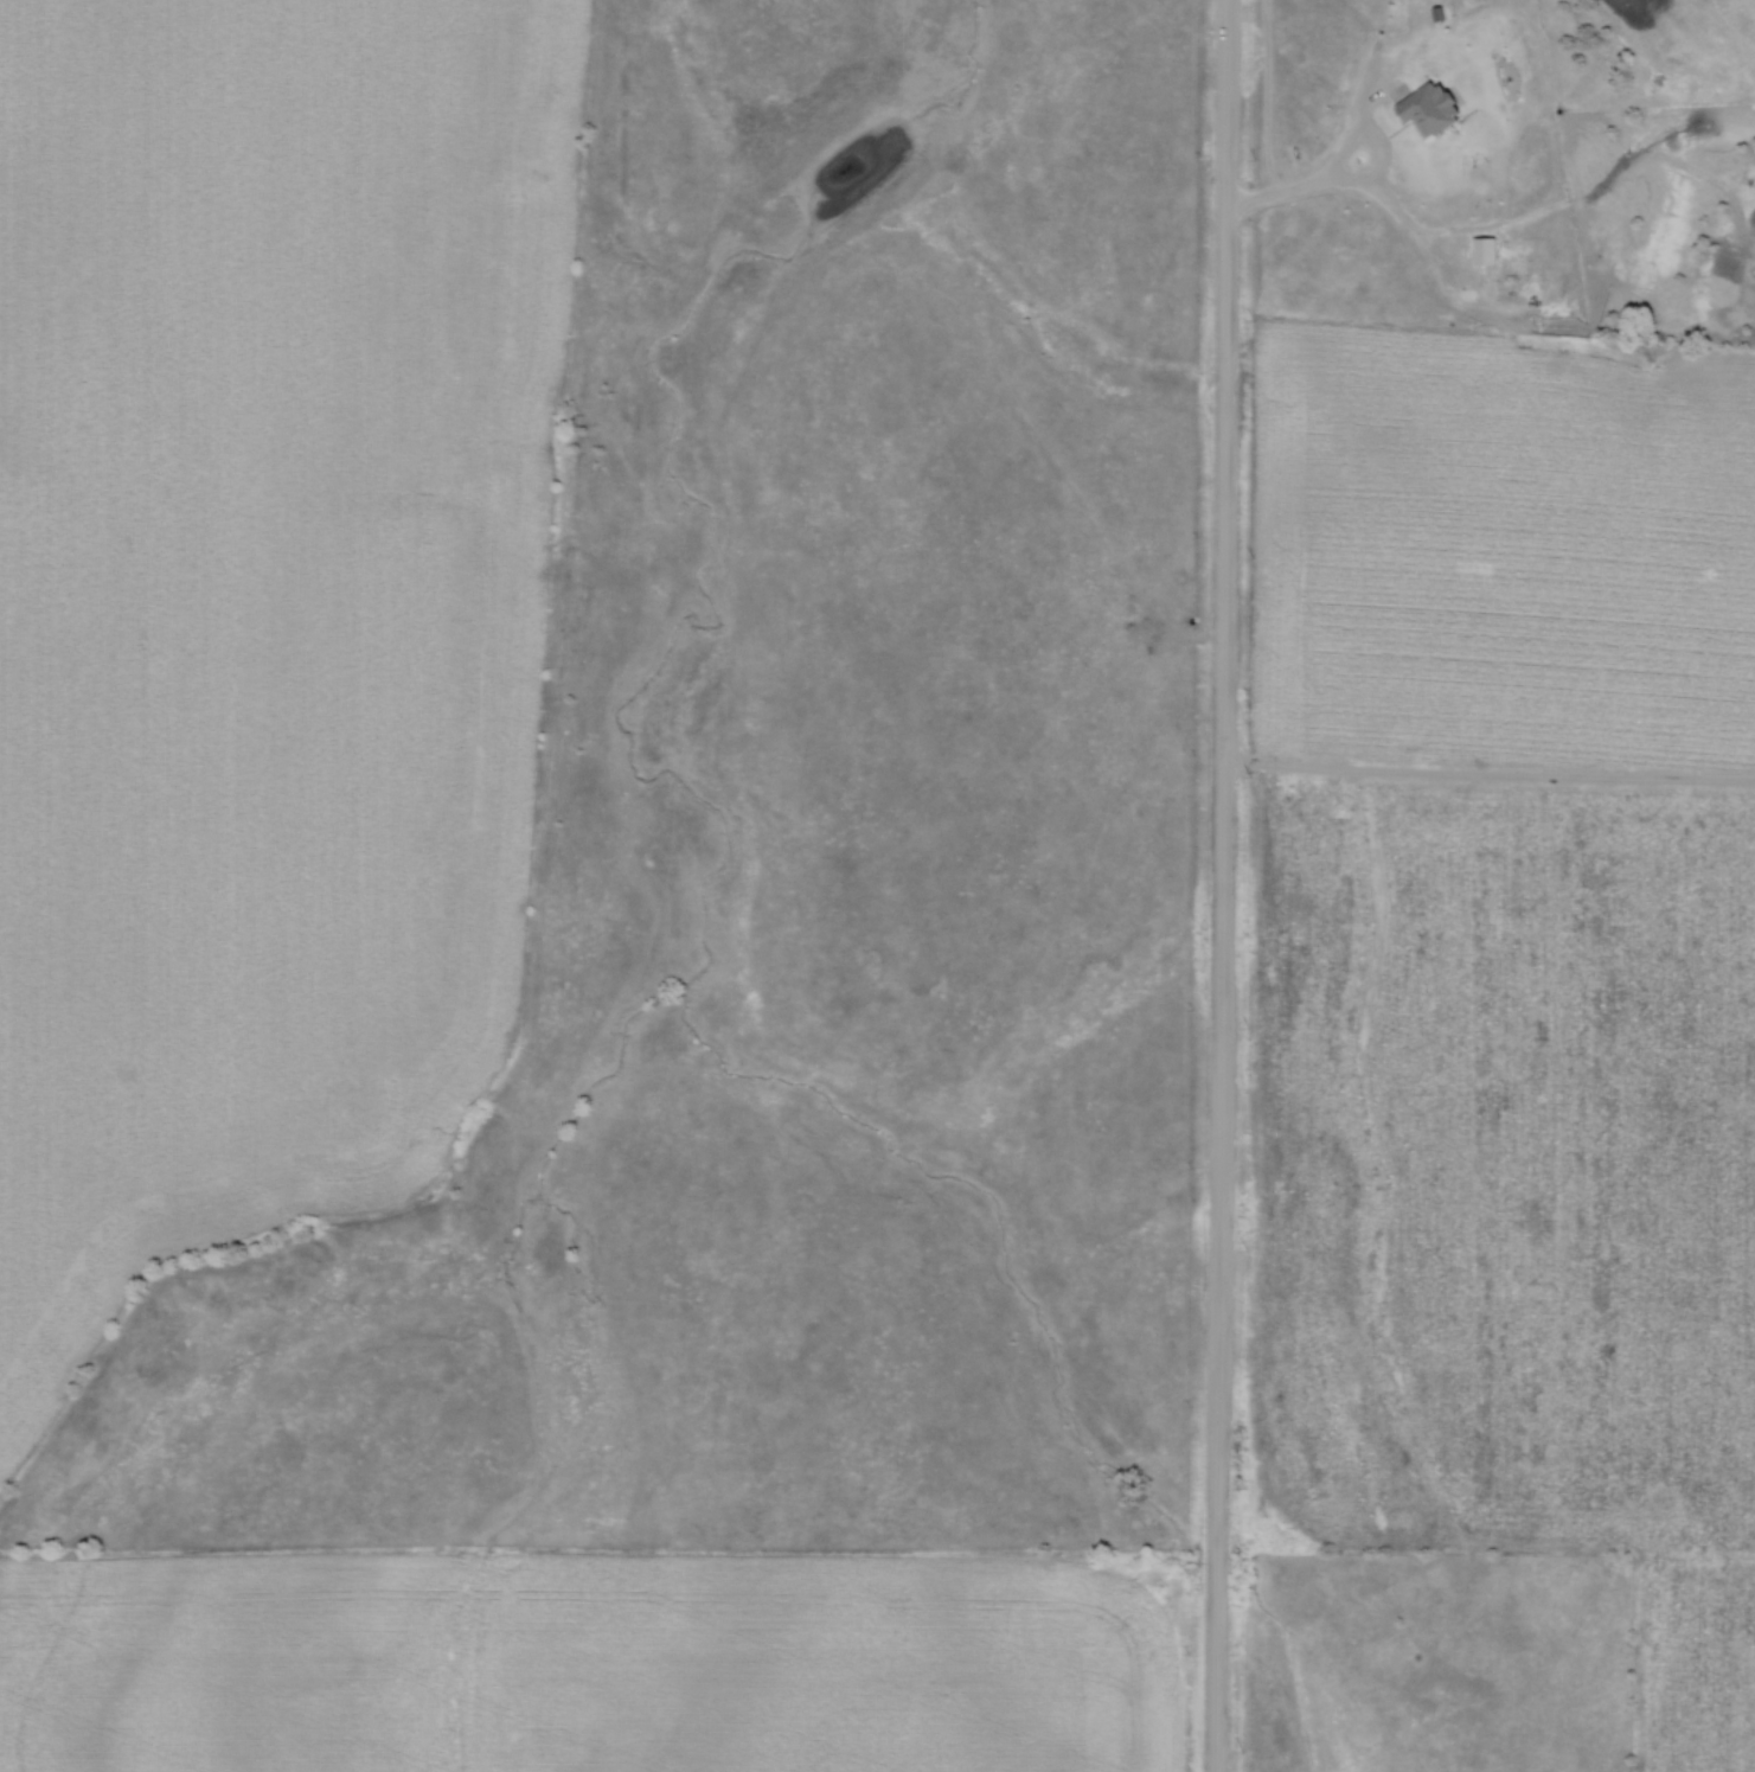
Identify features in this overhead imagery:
road: (1225, 885)

